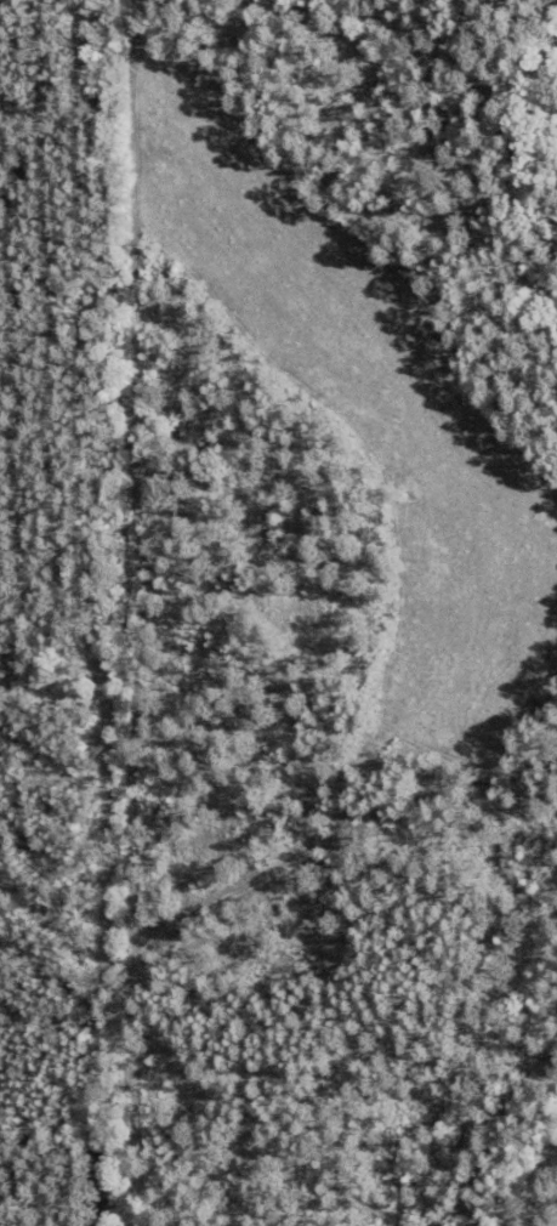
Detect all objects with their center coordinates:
road: (267, 874)

